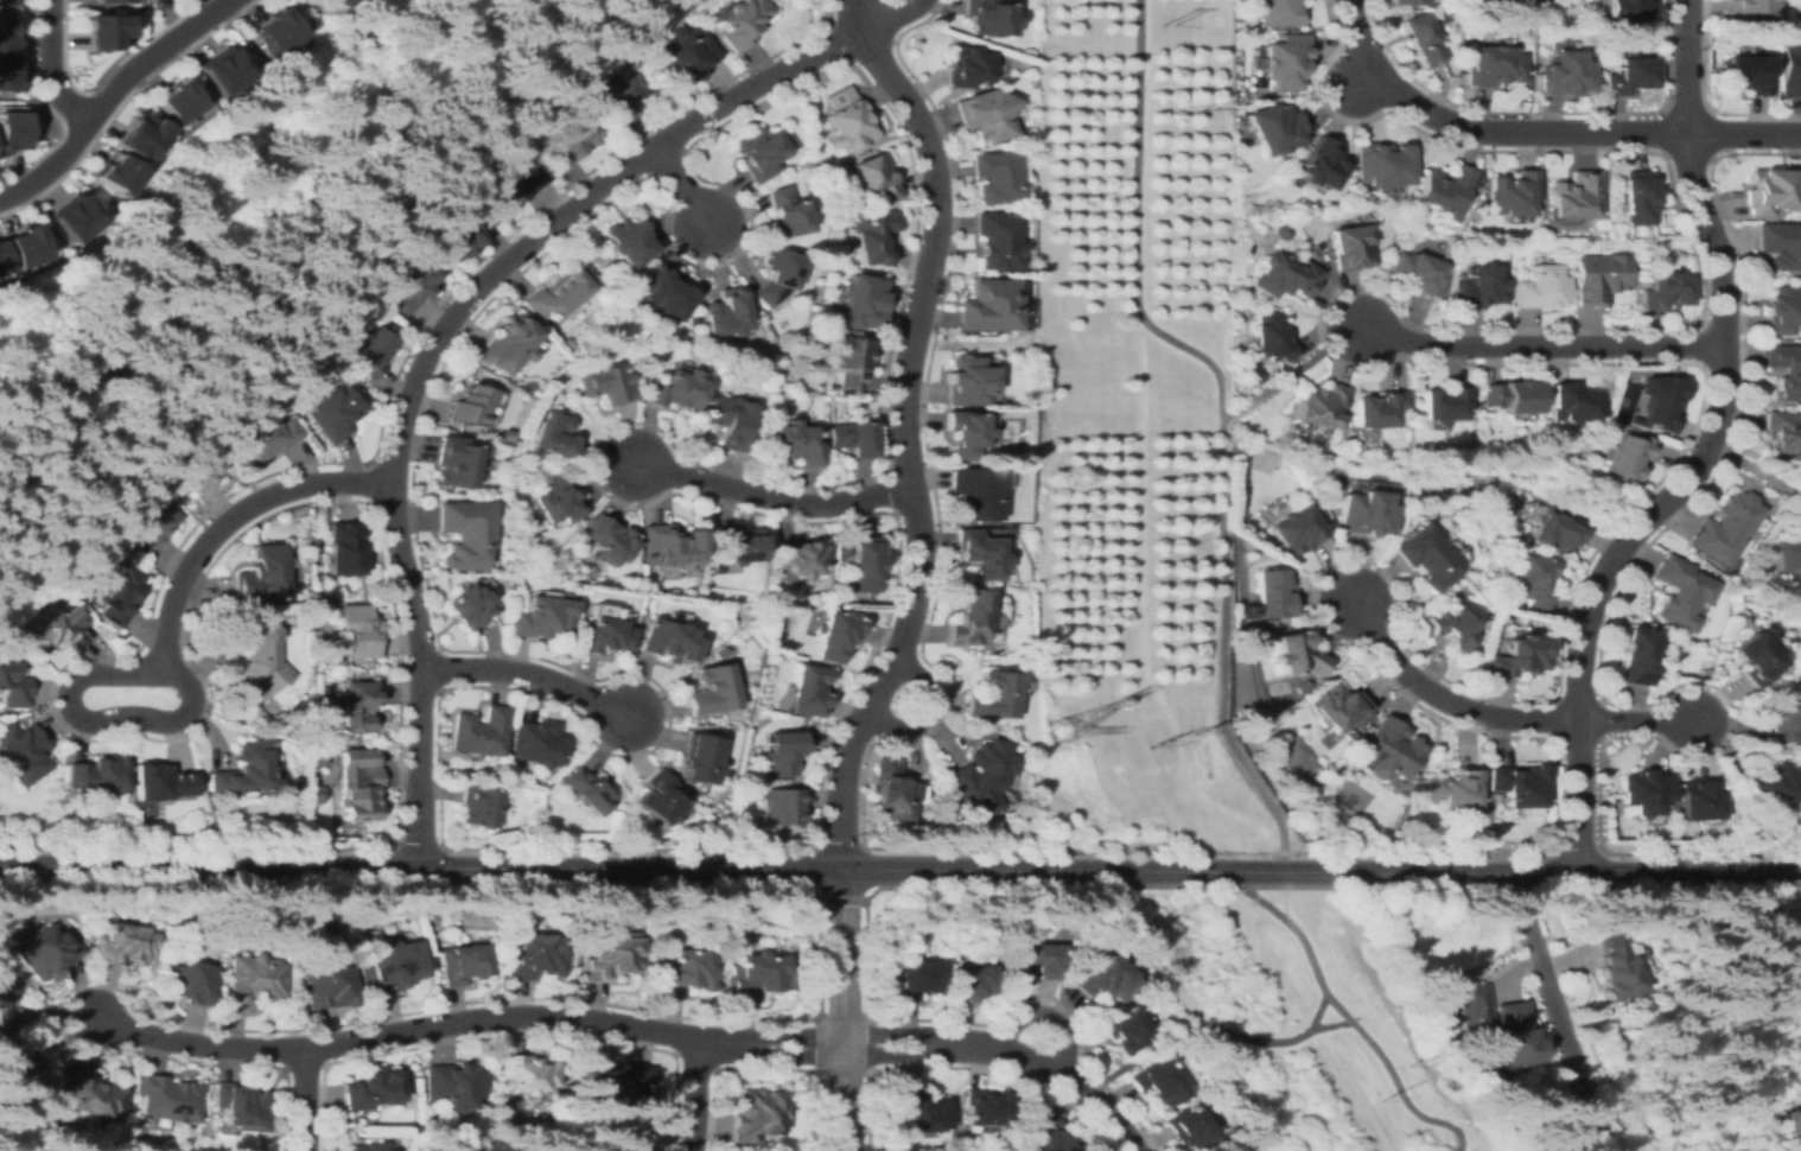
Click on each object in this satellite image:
building: (109, 0)
building: (1504, 0)
building: (1404, 1)
building: (7, 2)
building: (342, 2)
building: (1745, 7)
building: (1625, 8)
building: (1277, 12)
road: (892, 17)
building: (989, 18)
building: (742, 21)
power tower: (1162, 24)
building: (103, 31)
building: (279, 31)
building: (7, 36)
building: (1420, 38)
building: (686, 58)
road: (848, 61)
building: (1281, 61)
building: (967, 65)
building: (1490, 65)
road: (51, 66)
building: (1790, 69)
building: (1565, 72)
building: (1746, 72)
building: (231, 74)
road: (1360, 74)
building: (8, 75)
road: (1358, 75)
building: (1627, 75)
road: (864, 78)
building: (1258, 82)
road: (110, 94)
building: (621, 95)
building: (1242, 97)
road: (119, 100)
building: (180, 101)
road: (1704, 101)
power tower: (1203, 107)
road: (1538, 110)
building: (987, 114)
building: (848, 119)
building: (1274, 128)
building: (11, 131)
road: (1539, 132)
building: (148, 133)
building: (571, 141)
building: (758, 153)
road: (1707, 158)
road: (663, 161)
building: (1033, 161)
building: (1316, 164)
building: (1379, 166)
building: (997, 177)
building: (122, 178)
building: (876, 178)
building: (513, 189)
building: (1443, 189)
road: (683, 190)
building: (1768, 191)
building: (1510, 192)
building: (1573, 195)
building: (1635, 196)
building: (785, 214)
building: (88, 217)
building: (1283, 233)
building: (463, 235)
building: (873, 235)
building: (998, 241)
building: (626, 242)
building: (1781, 246)
building: (28, 247)
building: (1351, 247)
building: (1653, 247)
building: (2, 262)
building: (604, 267)
building: (1417, 272)
building: (1284, 275)
building: (775, 276)
building: (1598, 276)
building: (409, 285)
building: (1478, 287)
building: (1541, 287)
building: (1663, 291)
building: (662, 293)
building: (554, 295)
building: (861, 303)
building: (988, 306)
building: (1782, 310)
building: (723, 313)
building: (1271, 337)
road: (432, 341)
road: (1698, 343)
building: (505, 345)
road: (1540, 345)
building: (371, 351)
building: (847, 360)
road: (1290, 370)
building: (1786, 370)
building: (968, 381)
building: (605, 382)
building: (675, 390)
building: (1509, 396)
building: (1444, 402)
building: (1660, 402)
building: (1571, 403)
building: (470, 406)
building: (1319, 406)
building: (1379, 408)
building: (336, 412)
building: (730, 421)
road: (1221, 422)
road: (903, 428)
building: (965, 434)
building: (507, 435)
building: (555, 435)
building: (1782, 435)
building: (268, 438)
building: (852, 438)
building: (793, 444)
road: (1705, 453)
building: (1628, 454)
park: (1261, 460)
building: (456, 463)
building: (199, 470)
road: (370, 475)
road: (885, 490)
building: (976, 491)
road: (770, 496)
road: (368, 501)
building: (556, 501)
building: (1364, 513)
building: (149, 522)
building: (1726, 527)
building: (1293, 529)
building: (1557, 529)
building: (465, 533)
building: (610, 540)
building: (669, 545)
building: (738, 545)
building: (343, 548)
building: (980, 553)
building: (1787, 554)
building: (800, 557)
building: (1426, 557)
road: (1362, 559)
building: (864, 565)
building: (259, 573)
building: (1529, 581)
building: (1681, 591)
building: (1272, 592)
building: (114, 594)
building: (813, 598)
building: (466, 606)
road: (1144, 612)
building: (542, 617)
building: (973, 618)
building: (1445, 628)
building: (53, 629)
building: (358, 630)
building: (605, 630)
building: (835, 635)
building: (668, 641)
road: (435, 647)
road: (161, 649)
building: (720, 651)
building: (1297, 655)
building: (1514, 656)
building: (1634, 656)
building: (1754, 659)
building: (254, 660)
road: (434, 667)
road: (526, 674)
building: (11, 686)
road: (437, 687)
building: (1300, 687)
building: (712, 691)
building: (809, 691)
building: (994, 695)
road: (1444, 701)
building: (355, 706)
road: (925, 710)
building: (1338, 710)
road: (1552, 720)
building: (1780, 720)
building: (285, 721)
road: (1637, 721)
power tower: (1055, 727)
power tower: (1198, 729)
building: (479, 732)
road: (90, 739)
power tower: (1156, 740)
building: (536, 743)
building: (1388, 746)
building: (784, 751)
building: (20, 752)
park: (1299, 756)
building: (699, 758)
building: (242, 770)
building: (94, 775)
building: (982, 777)
building: (1767, 780)
building: (158, 782)
building: (357, 784)
building: (1516, 784)
building: (1452, 788)
building: (890, 789)
building: (1643, 790)
building: (587, 791)
building: (317, 794)
park: (1351, 796)
building: (658, 797)
building: (1697, 799)
building: (477, 807)
building: (785, 807)
building: (1310, 823)
road: (1201, 828)
road: (416, 842)
road: (1574, 845)
road: (838, 846)
road: (621, 866)
road: (1261, 871)
road: (1541, 873)
road: (1514, 883)
road: (1283, 895)
building: (122, 945)
building: (45, 953)
building: (341, 955)
building: (534, 956)
building: (609, 958)
building: (1037, 961)
building: (462, 964)
building: (389, 965)
building: (1616, 967)
building: (683, 972)
building: (756, 977)
building: (1101, 977)
building: (918, 978)
building: (189, 980)
building: (250, 981)
building: (972, 981)
building: (330, 986)
building: (6, 1000)
road: (840, 1009)
road: (1299, 1011)
road: (1345, 1016)
road: (1044, 1018)
park: (1296, 1019)
road: (1561, 1022)
road: (1330, 1024)
building: (1497, 1025)
road: (1208, 1028)
building: (1121, 1029)
road: (420, 1030)
road: (880, 1034)
road: (794, 1035)
road: (794, 1054)
road: (880, 1054)
power tower: (1408, 1062)
road: (1040, 1068)
building: (20, 1070)
building: (526, 1073)
building: (613, 1081)
building: (452, 1085)
building: (1156, 1085)
building: (371, 1088)
road: (695, 1094)
building: (89, 1095)
power tower: (1381, 1095)
building: (167, 1098)
road: (305, 1100)
building: (240, 1106)
building: (985, 1106)
building: (918, 1111)
building: (756, 1114)
building: (1792, 1125)
building: (1188, 1127)
building: (1046, 1137)
building: (634, 1144)
building: (369, 1146)
building: (393, 1150)
building: (1229, 1150)

